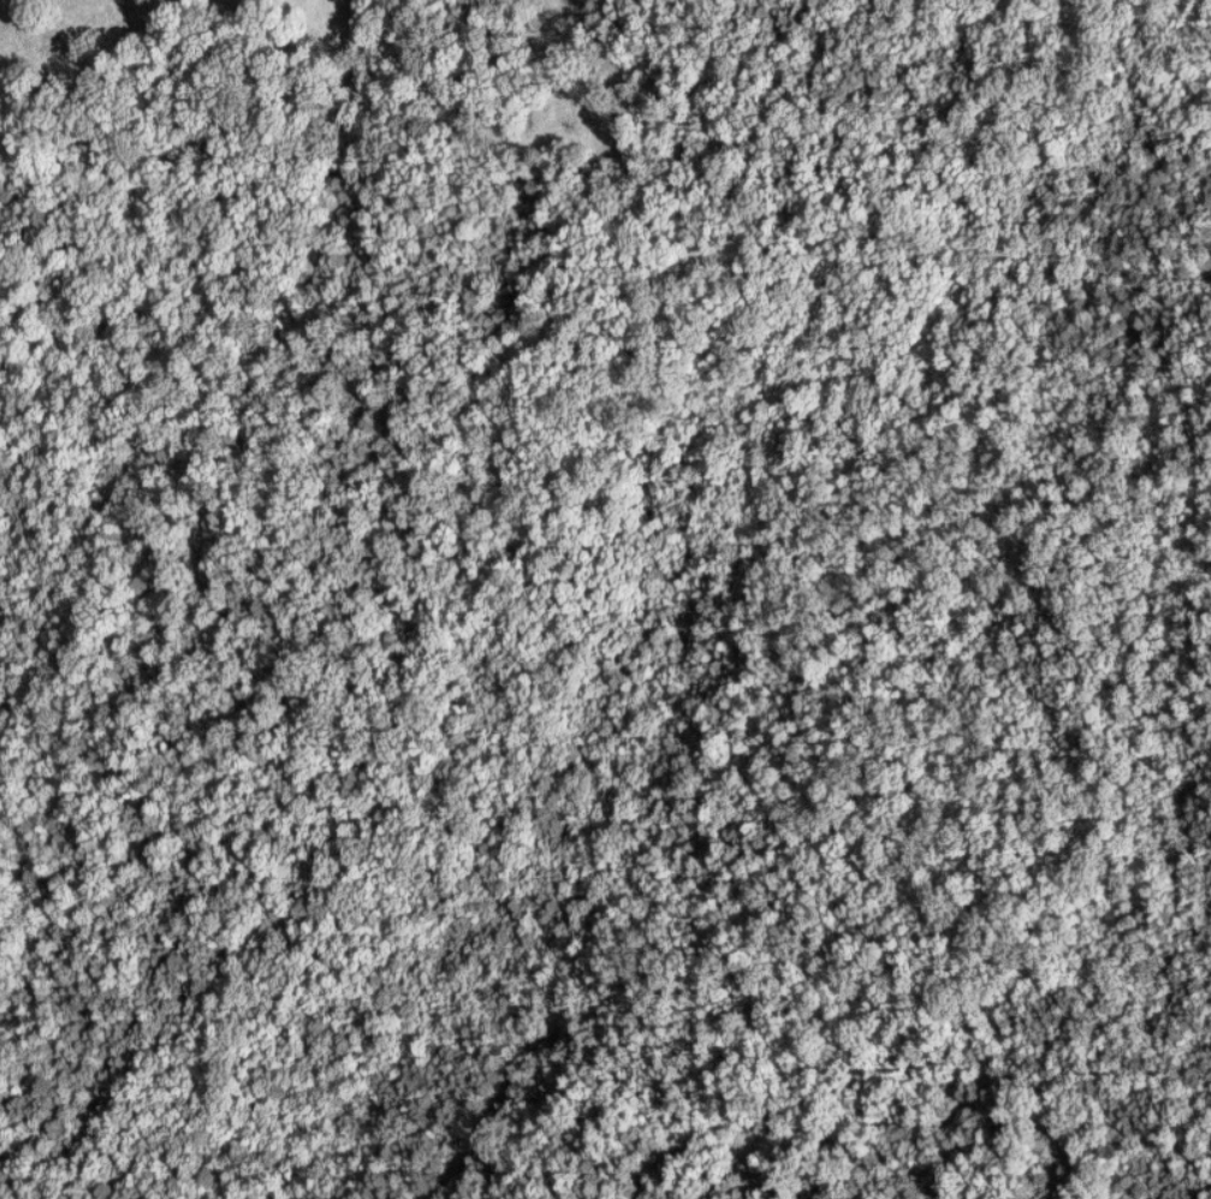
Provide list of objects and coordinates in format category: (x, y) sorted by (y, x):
road: (901, 1132)

